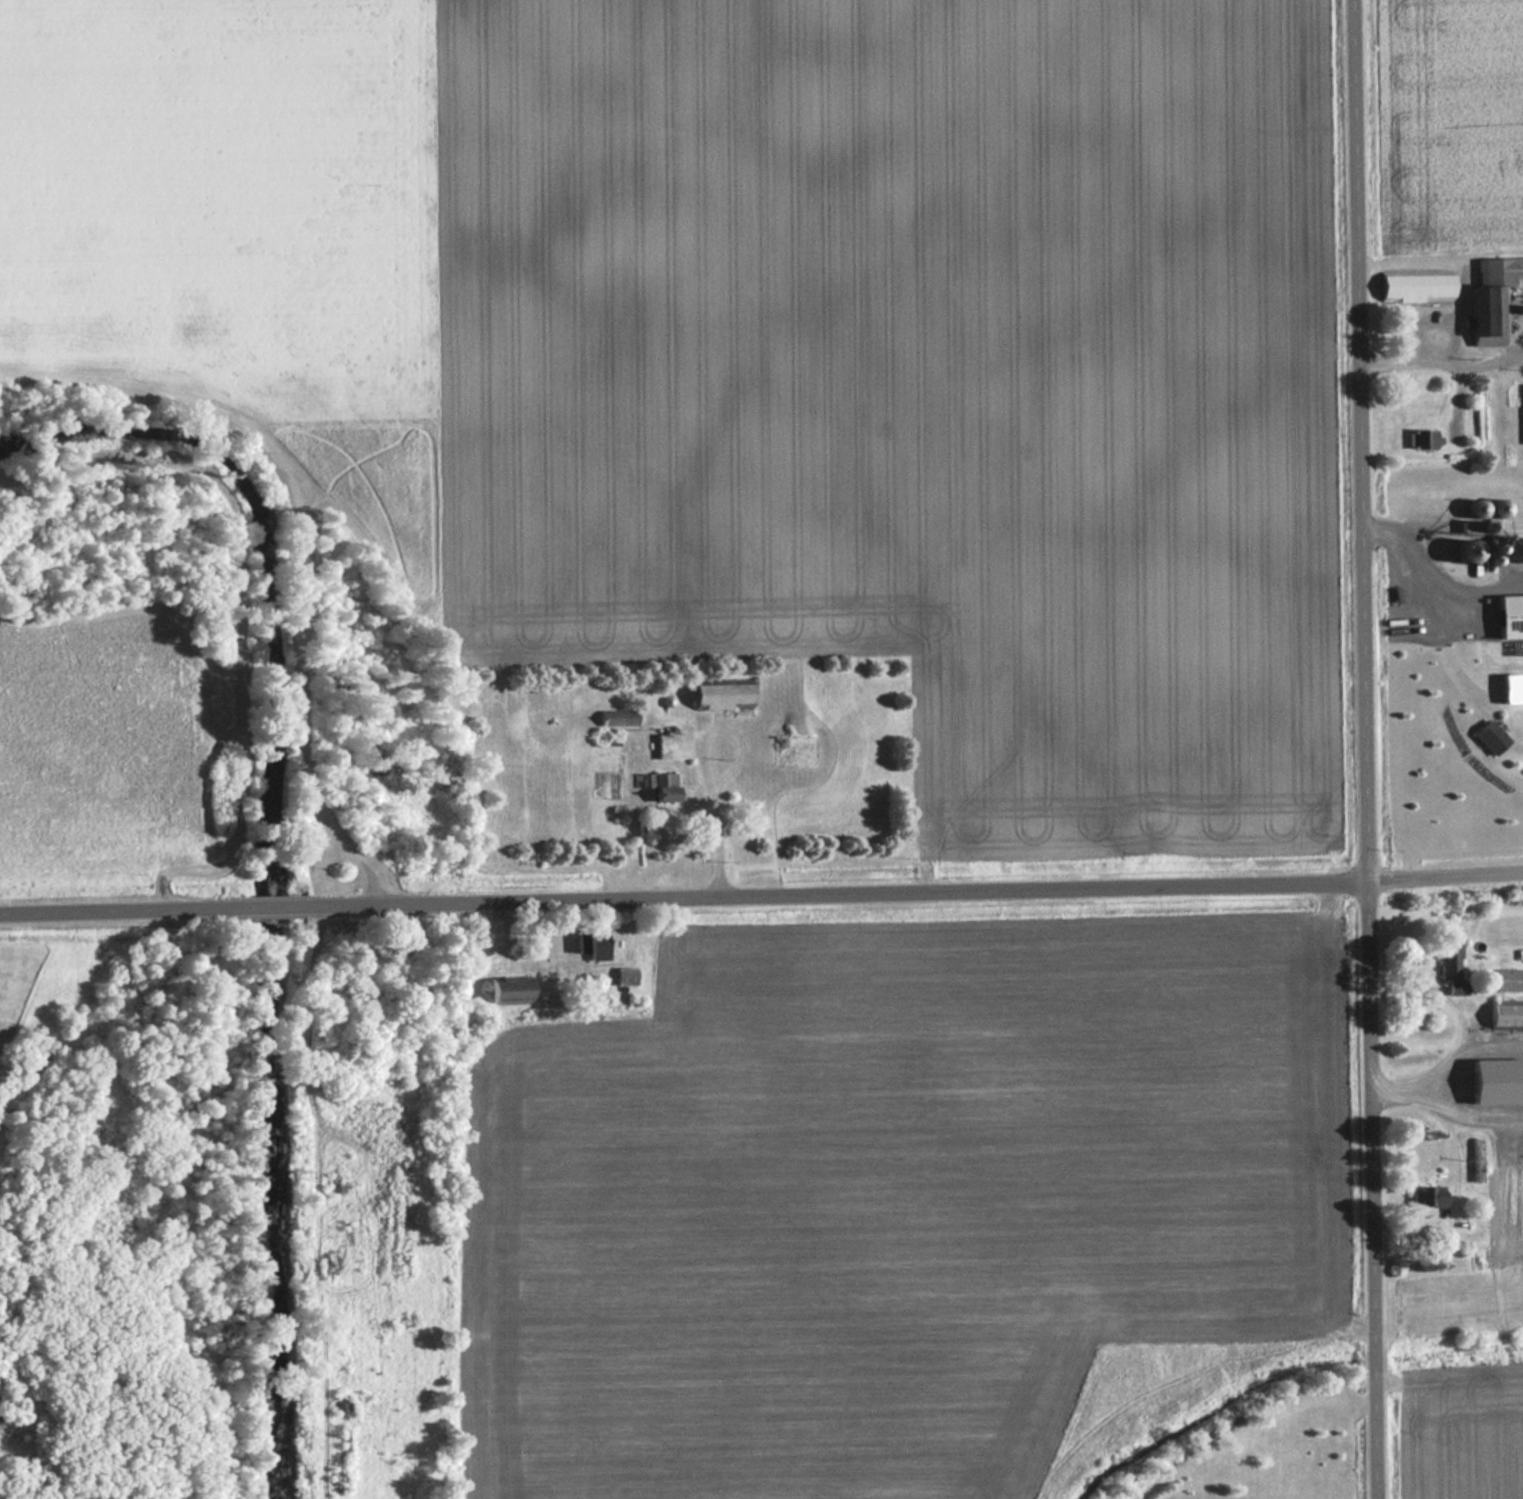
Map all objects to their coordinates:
building: (1417, 286)
building: (1493, 298)
building: (1425, 439)
road: (1364, 440)
building: (1511, 617)
building: (724, 696)
building: (618, 718)
building: (1491, 737)
building: (667, 746)
building: (798, 751)
building: (666, 787)
river: (267, 857)
road: (1447, 875)
road: (685, 894)
building: (592, 945)
building: (1452, 969)
building: (625, 976)
building: (1509, 980)
building: (510, 992)
building: (1509, 1017)
building: (1481, 1087)
building: (1477, 1152)
road: (1376, 1189)
building: (1428, 1198)

